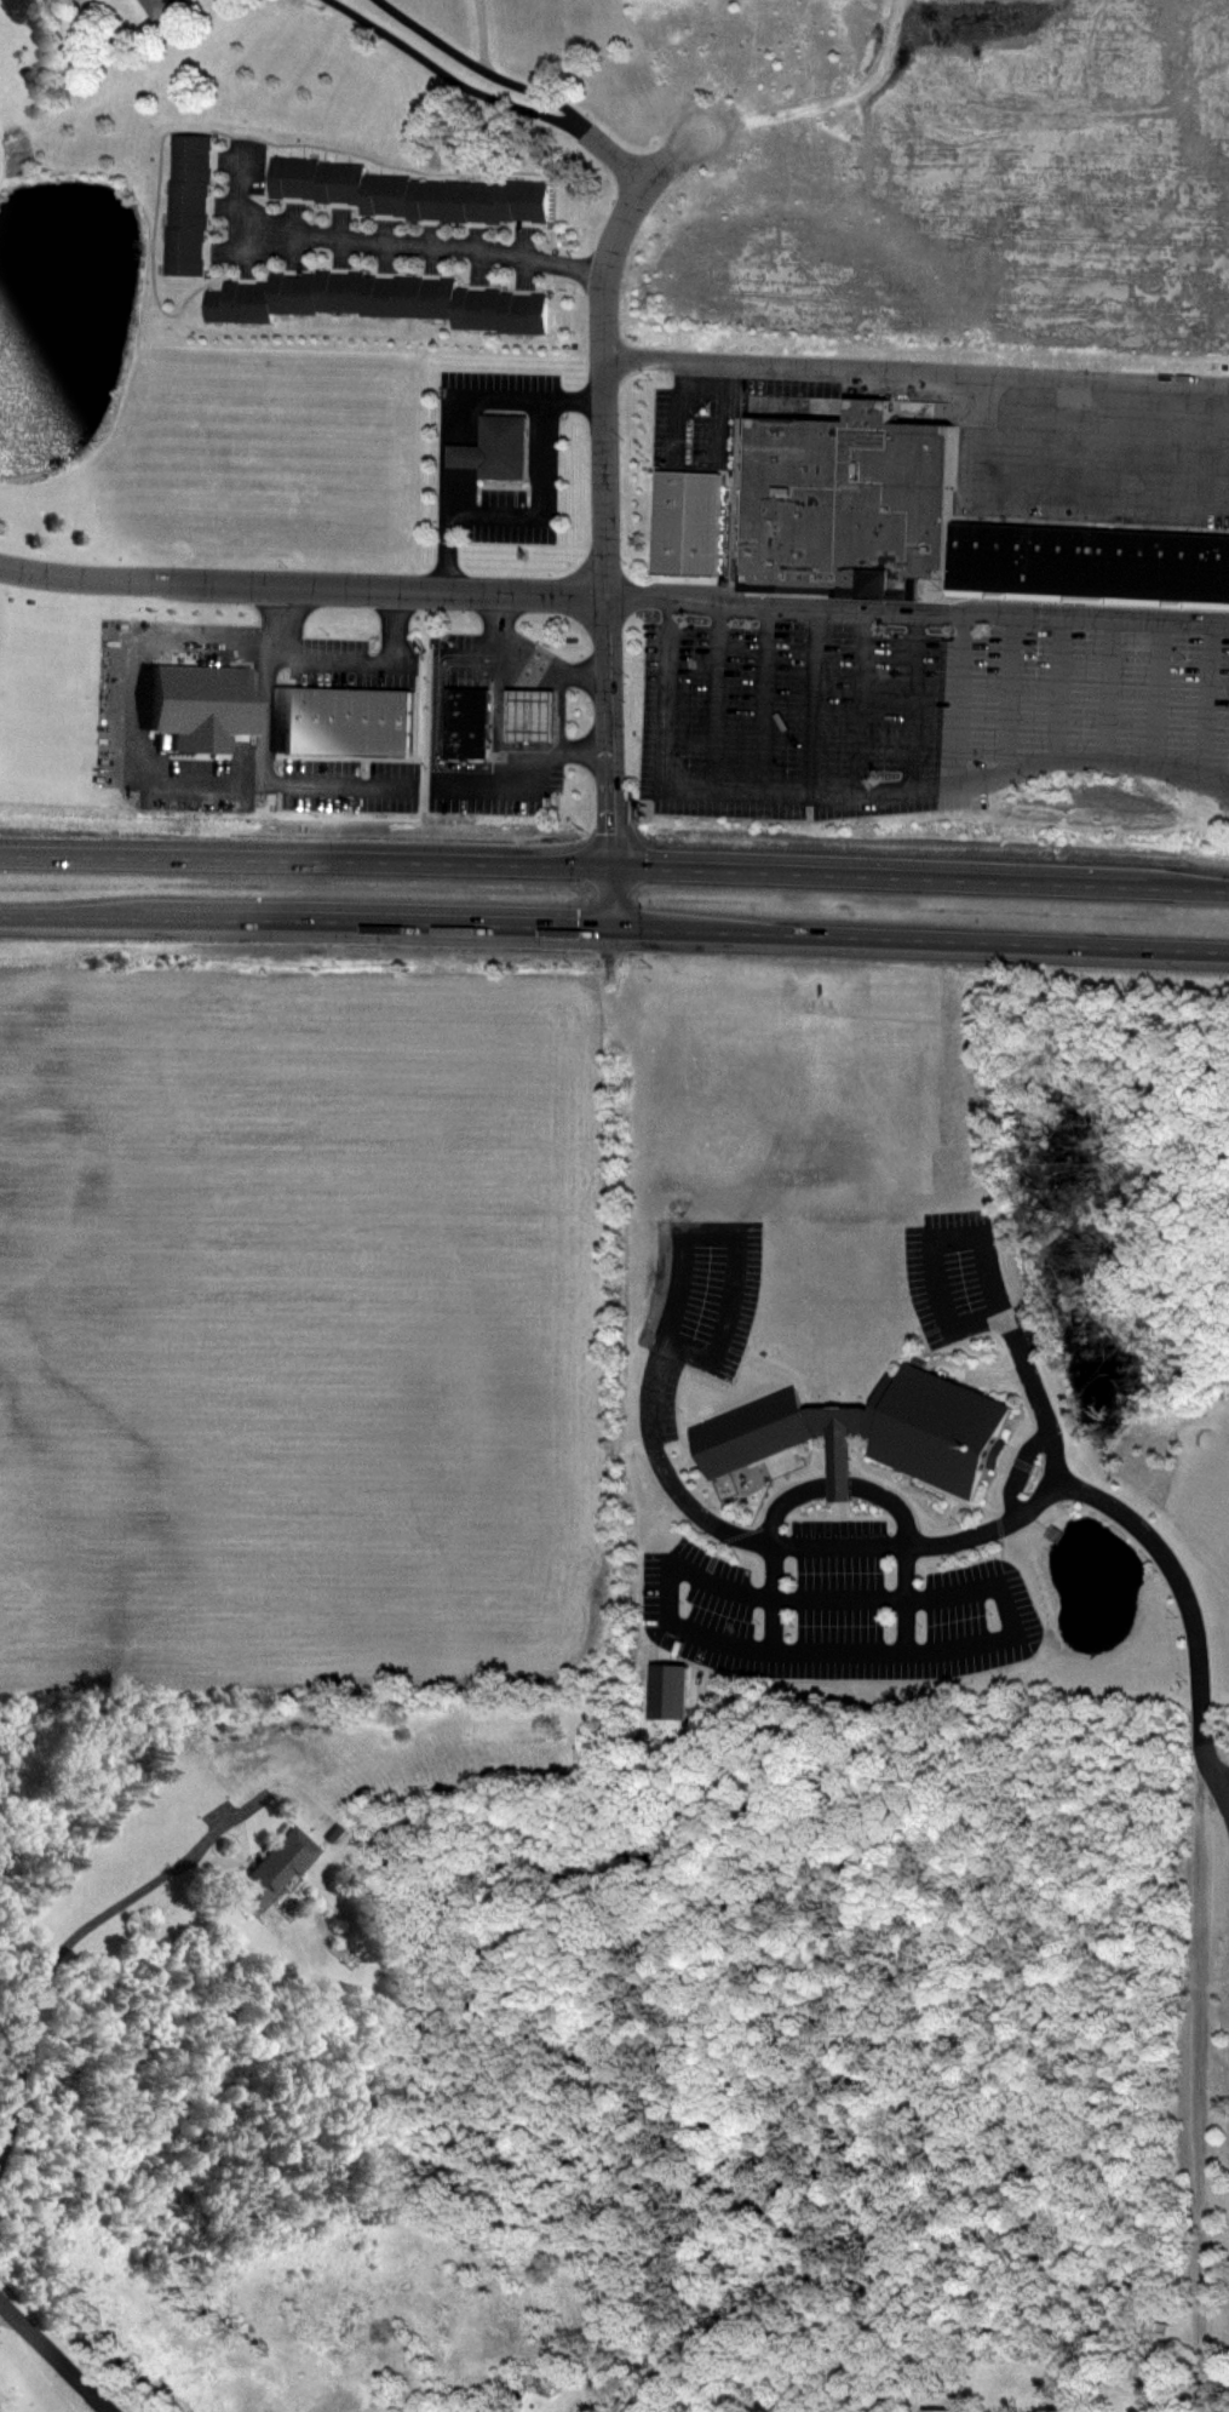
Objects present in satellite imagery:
building: (159, 7)
road: (430, 36)
road: (455, 85)
road: (546, 96)
road: (622, 164)
crop: (901, 168)
building: (297, 179)
building: (343, 183)
building: (387, 195)
building: (433, 201)
building: (479, 202)
building: (527, 202)
building: (190, 208)
road: (385, 241)
building: (340, 291)
building: (295, 293)
building: (410, 297)
building: (241, 304)
building: (478, 306)
building: (526, 314)
road: (915, 377)
road: (463, 423)
building: (498, 443)
crop: (263, 454)
road: (538, 498)
building: (843, 500)
road: (604, 512)
building: (683, 521)
building: (1089, 563)
road: (301, 581)
road: (917, 608)
road: (363, 658)
road: (551, 669)
road: (1055, 684)
road: (1107, 686)
road: (1153, 691)
road: (1006, 692)
road: (712, 693)
road: (763, 695)
road: (958, 695)
road: (811, 697)
road: (911, 697)
road: (858, 698)
road: (1204, 698)
parking lot: (919, 703)
building: (467, 709)
gas station: (467, 709)
building: (341, 716)
building: (538, 716)
road: (500, 723)
road: (263, 745)
building: (466, 747)
road: (857, 789)
traffic signals: (613, 865)
road: (614, 865)
traffic signals: (613, 927)
road: (614, 927)
crop: (805, 1116)
road: (693, 1233)
parking lot: (960, 1281)
road: (994, 1291)
parking lot: (695, 1313)
crop: (311, 1317)
road: (650, 1393)
building: (857, 1432)
building: (838, 1466)
road: (1022, 1472)
road: (838, 1485)
crop: (1199, 1506)
road: (934, 1545)
road: (1187, 1609)
parking lot: (838, 1611)
road: (995, 1645)
building: (665, 1691)
road: (241, 1835)
building: (272, 1868)
road: (45, 1967)
road: (52, 2359)
park: (44, 2367)

